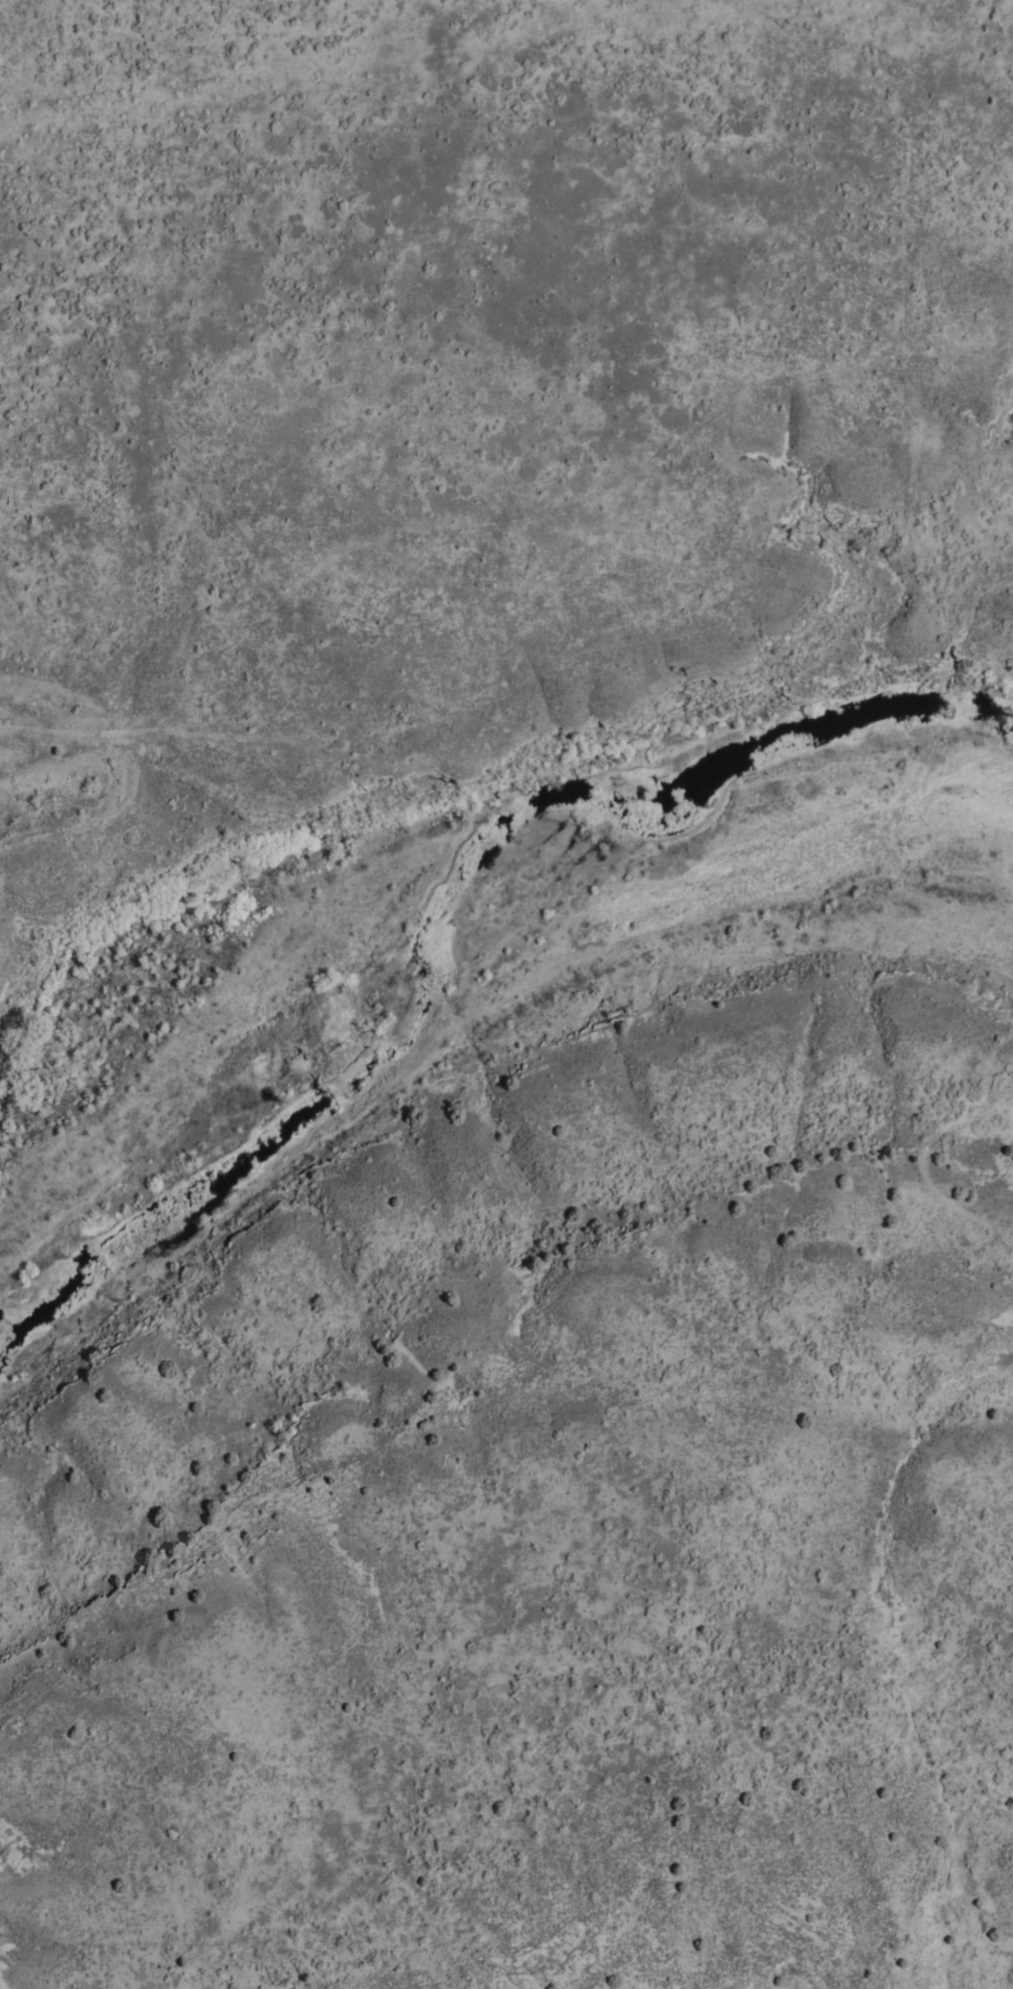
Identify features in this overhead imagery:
river: (442, 901)

